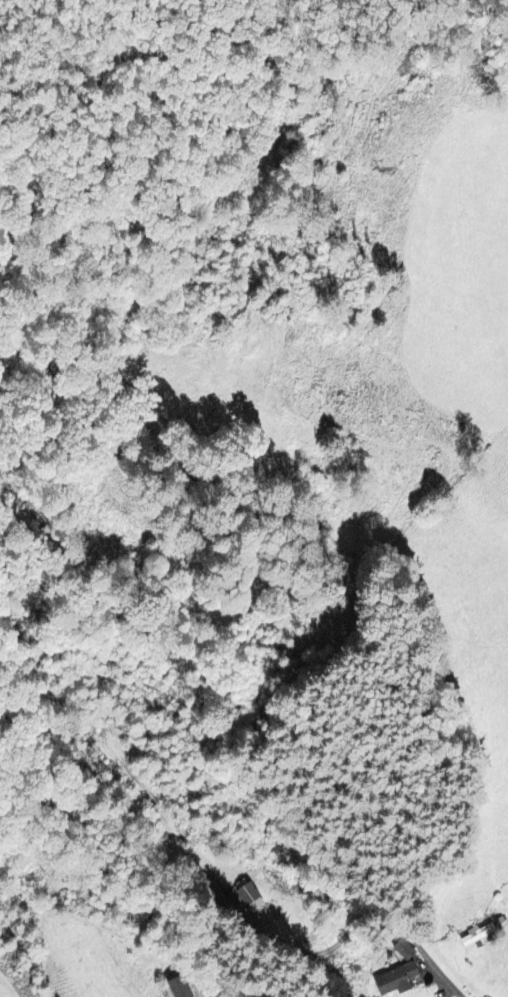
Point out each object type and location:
road: (324, 834)
building: (254, 898)
building: (481, 935)
building: (399, 980)
building: (185, 988)
road: (186, 991)

